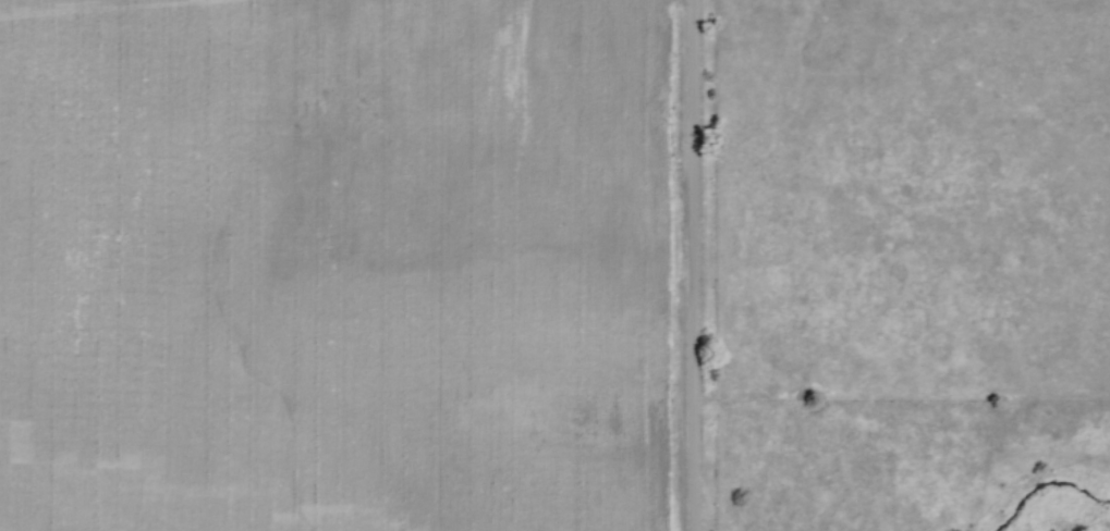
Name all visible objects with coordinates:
road: (693, 265)

